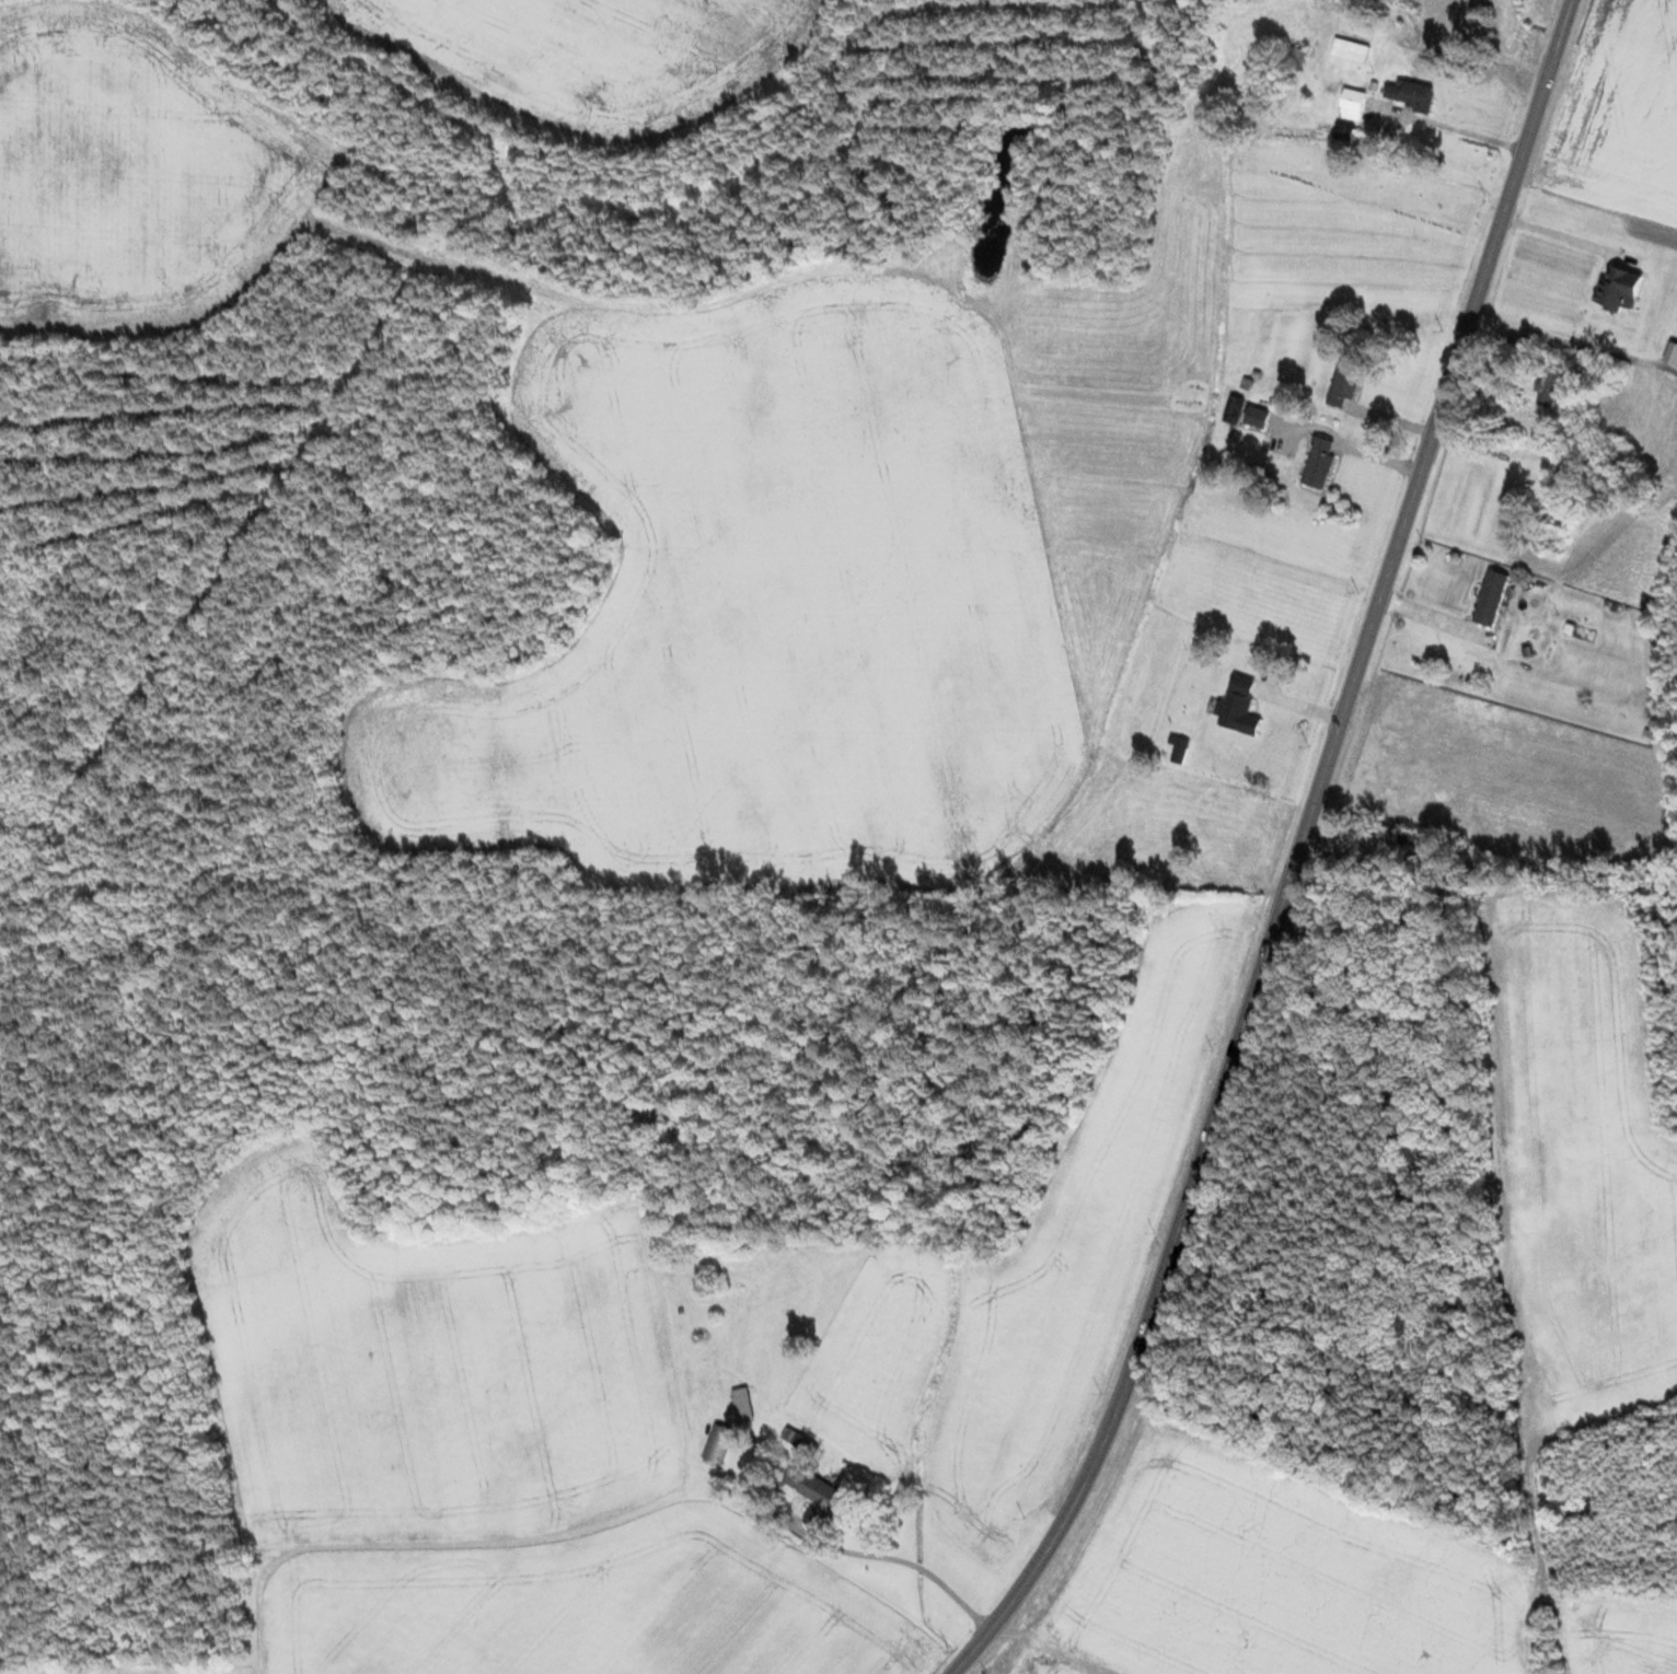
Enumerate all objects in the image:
building: (1350, 50)
power tower: (1528, 56)
building: (1294, 59)
building: (1409, 95)
building: (1352, 105)
power tower: (1485, 194)
power tower: (1441, 332)
building: (1550, 385)
building: (1342, 386)
building: (1256, 418)
power tower: (1404, 444)
building: (1318, 463)
power tower: (1357, 592)
building: (1490, 598)
building: (1239, 707)
power tower: (1306, 748)
building: (1422, 842)
road: (1297, 852)
power tower: (1261, 894)
power tower: (1211, 1049)
power tower: (1155, 1230)
power tower: (1100, 1386)
building: (741, 1405)
building: (800, 1443)
building: (716, 1446)
building: (818, 1500)
road: (902, 1561)
power tower: (946, 1647)

